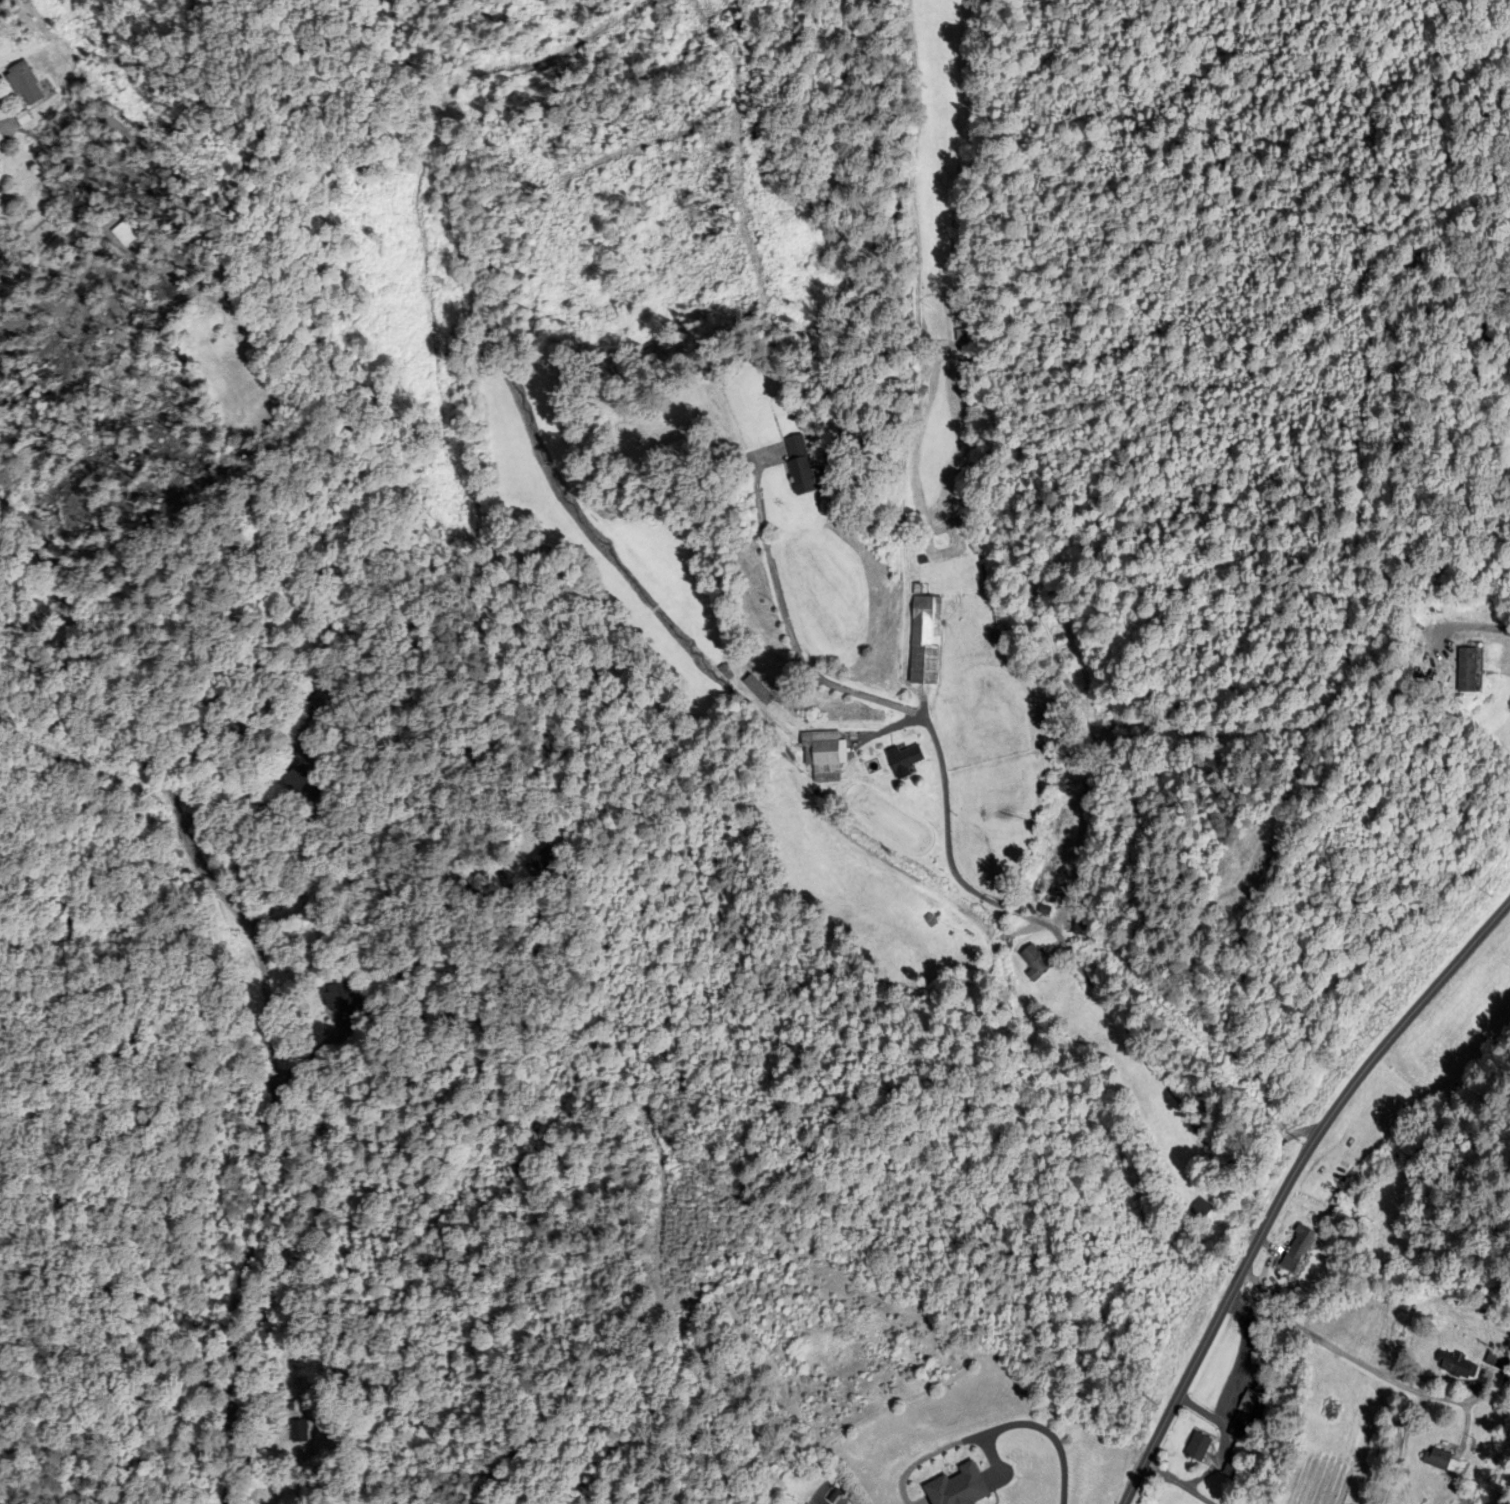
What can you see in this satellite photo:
building: (25, 86)
building: (122, 236)
building: (798, 462)
road: (1488, 628)
building: (926, 640)
building: (1467, 670)
building: (758, 691)
building: (822, 756)
building: (904, 761)
building: (300, 786)
building: (543, 860)
road: (952, 871)
building: (1080, 926)
building: (1036, 963)
road: (267, 966)
building: (338, 998)
building: (1187, 1084)
road: (1287, 1184)
building: (1201, 1211)
building: (1298, 1251)
road: (1324, 1346)
building: (1457, 1367)
road: (1235, 1395)
road: (1203, 1409)
building: (1245, 1420)
road: (1039, 1426)
road: (1400, 1447)
building: (1198, 1448)
building: (1442, 1461)
building: (1232, 1471)
road: (1177, 1483)
building: (958, 1488)
road: (822, 1500)

